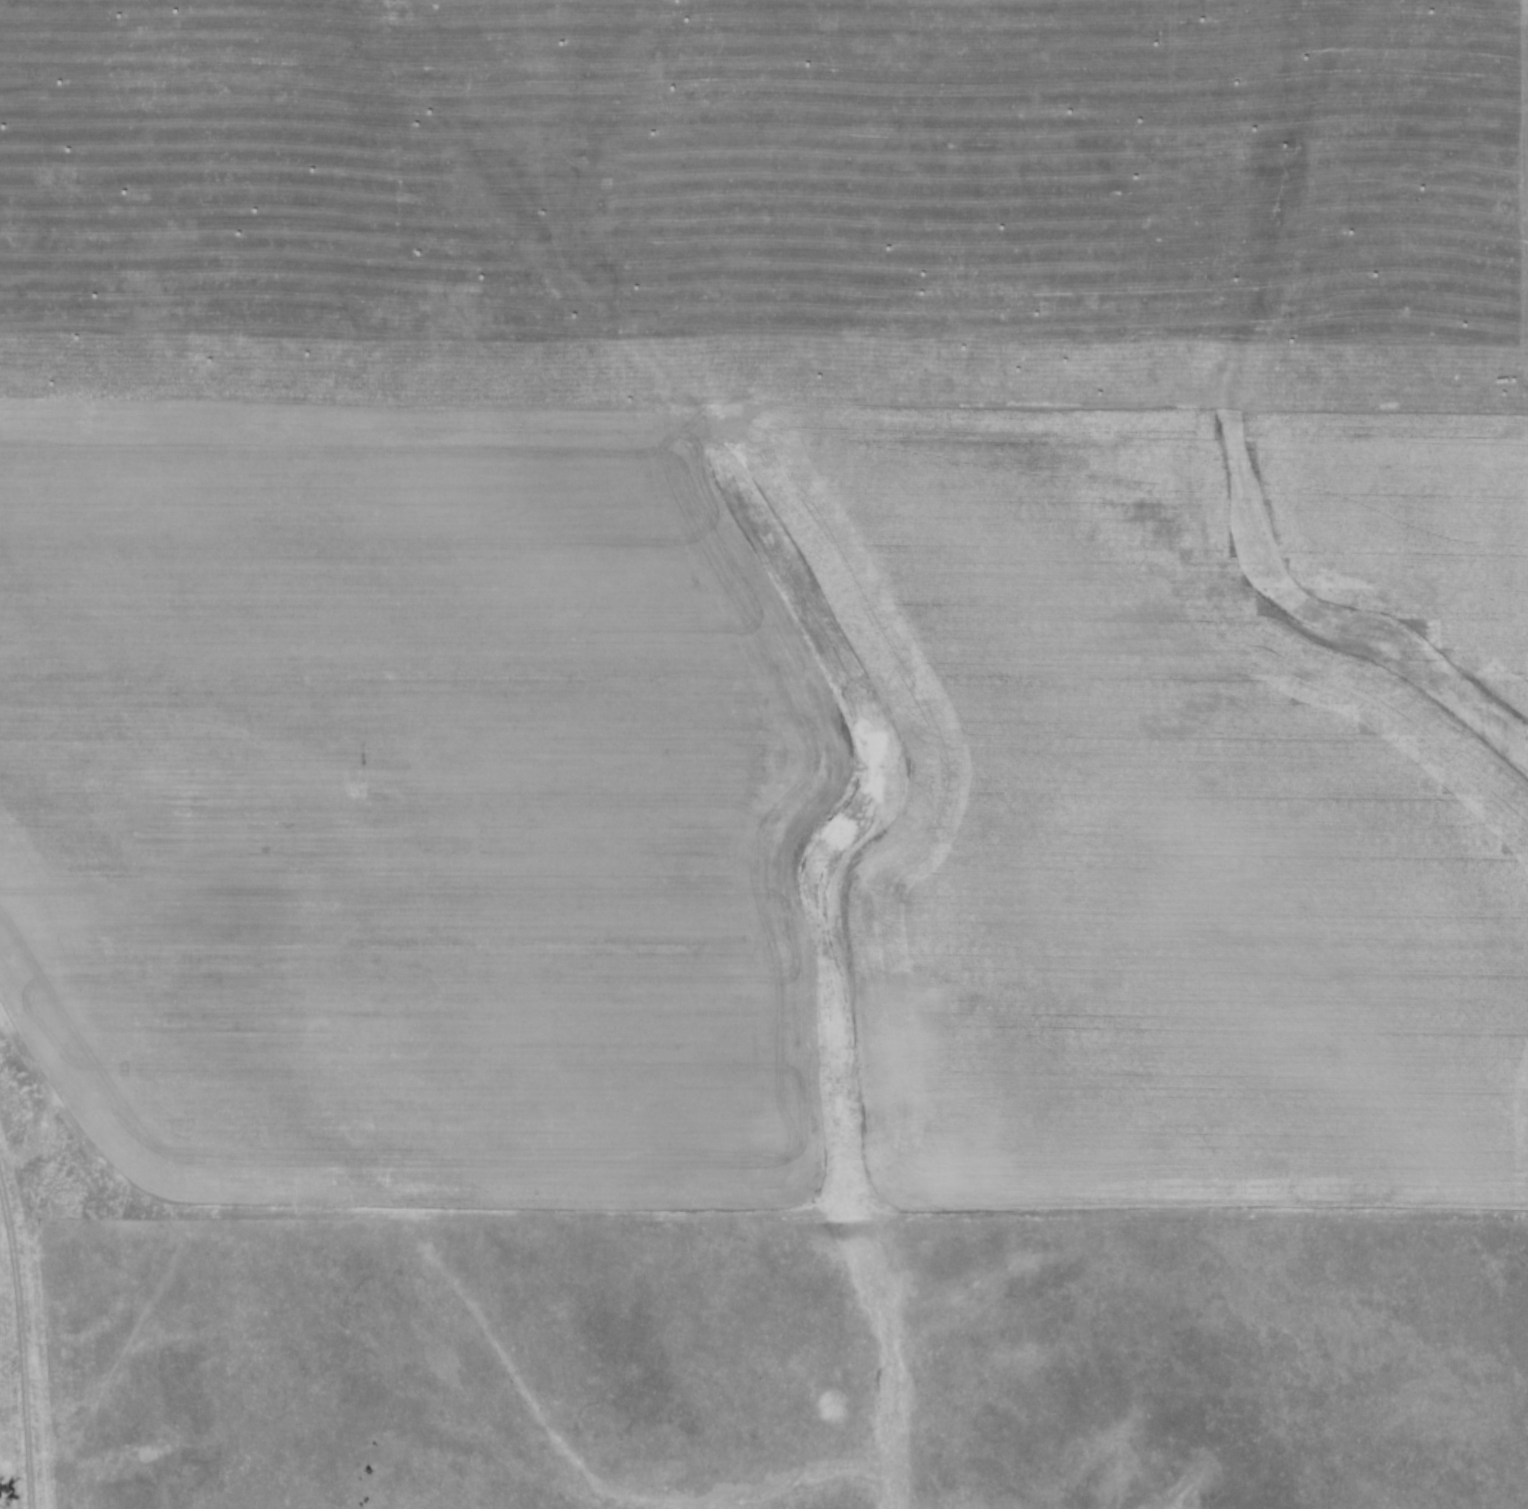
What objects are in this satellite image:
road: (26, 1337)

